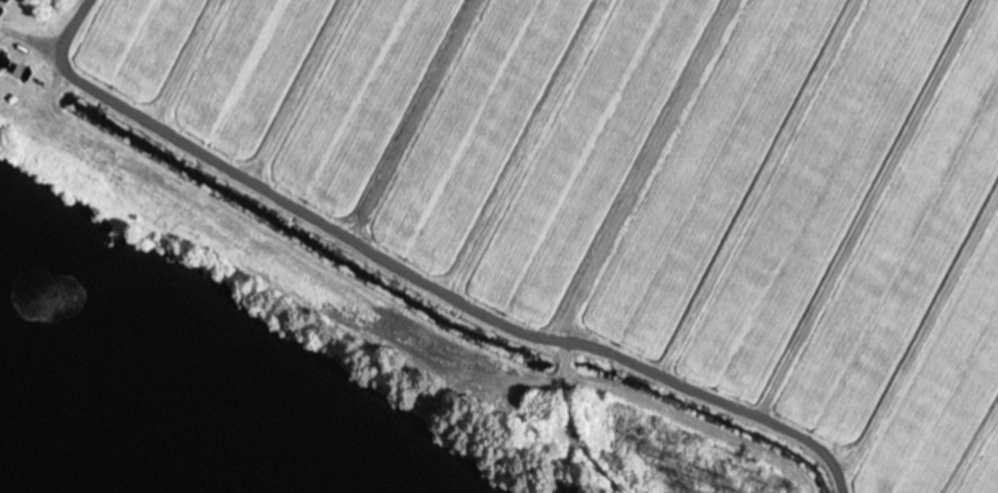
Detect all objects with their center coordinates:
road: (62, 43)
crop: (597, 193)
road: (472, 311)
road: (378, 314)
road: (657, 372)
building: (568, 491)

